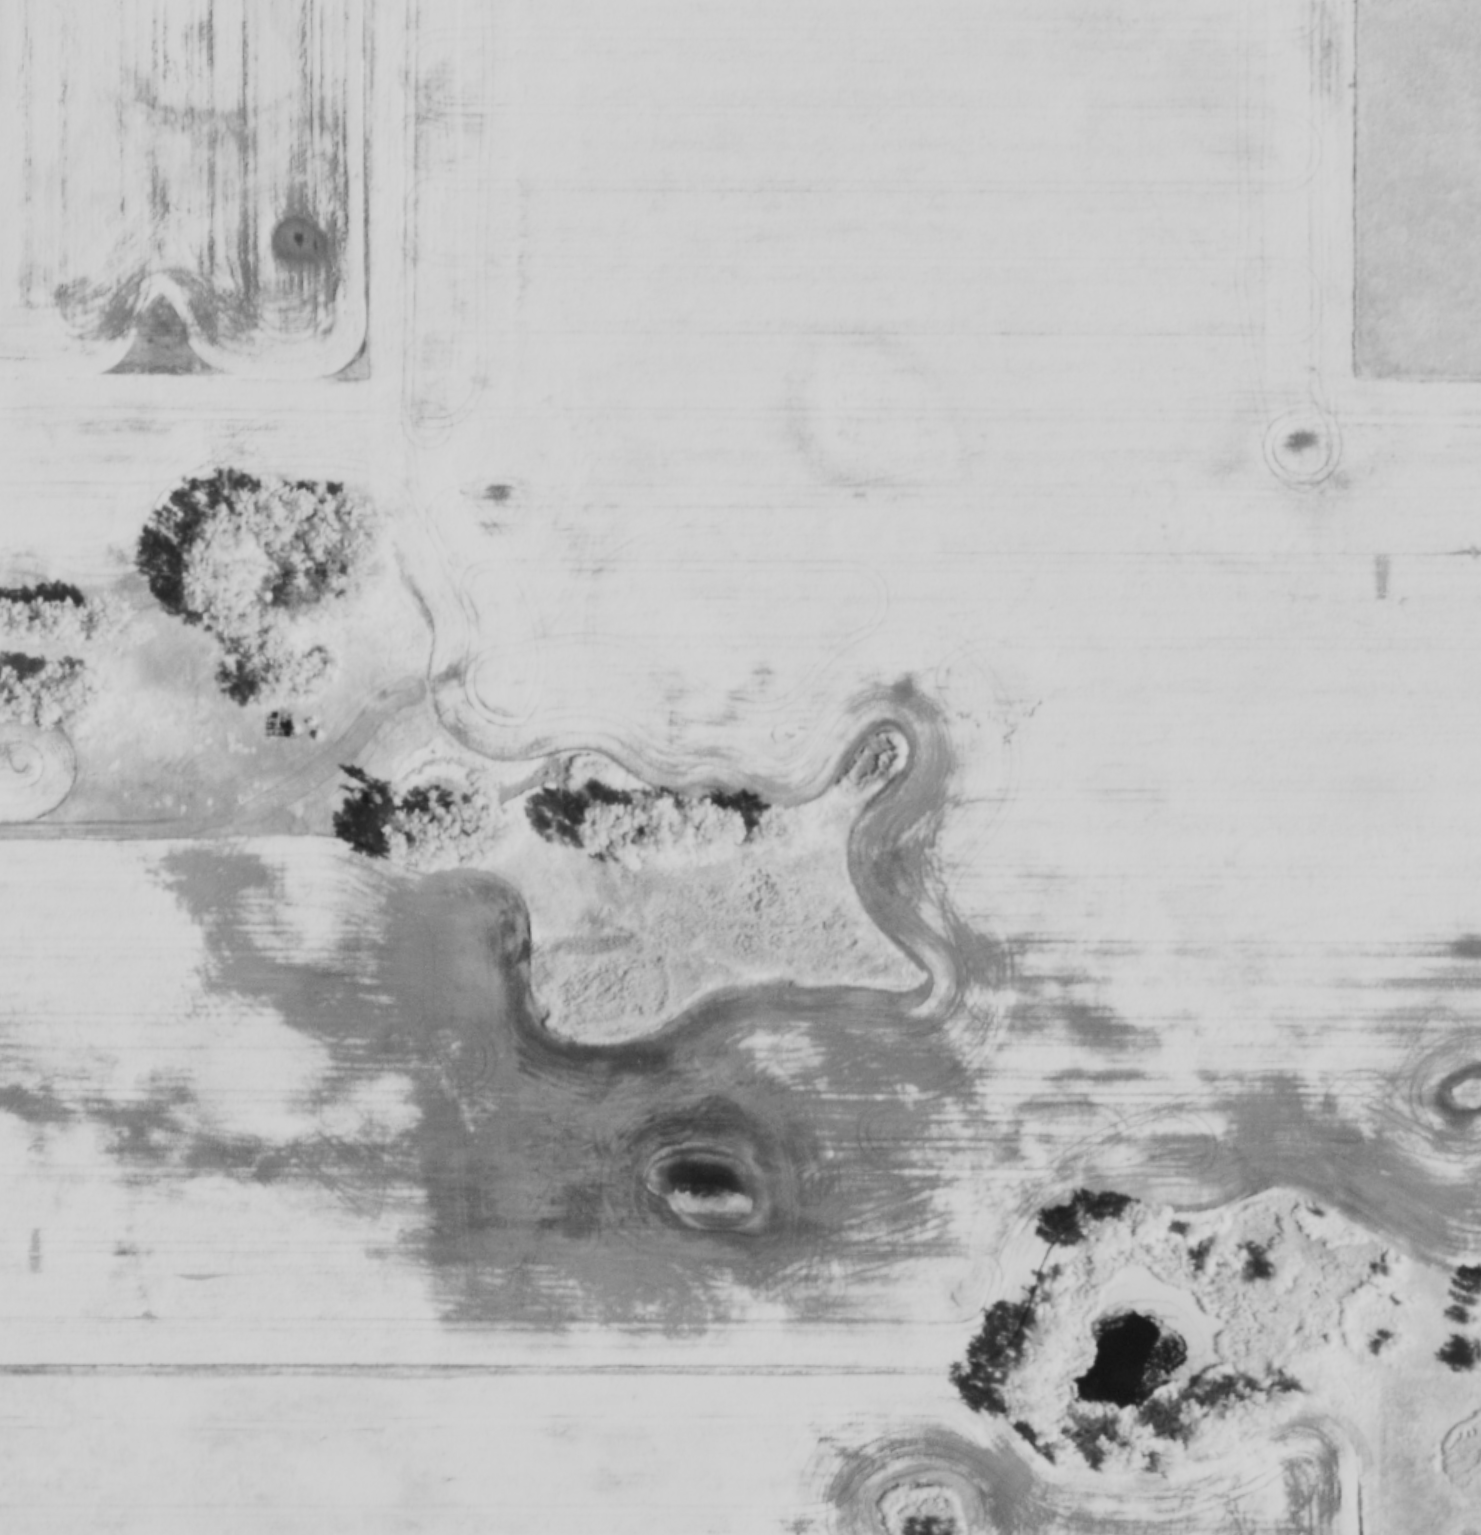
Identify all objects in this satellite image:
road: (160, 829)

